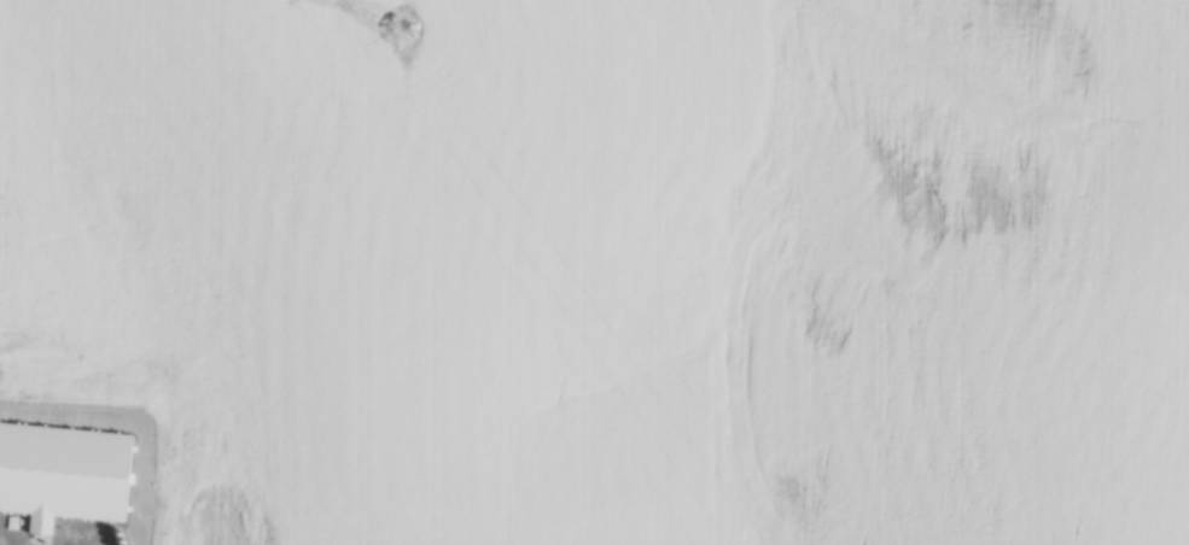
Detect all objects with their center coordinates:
power tower: (408, 28)

